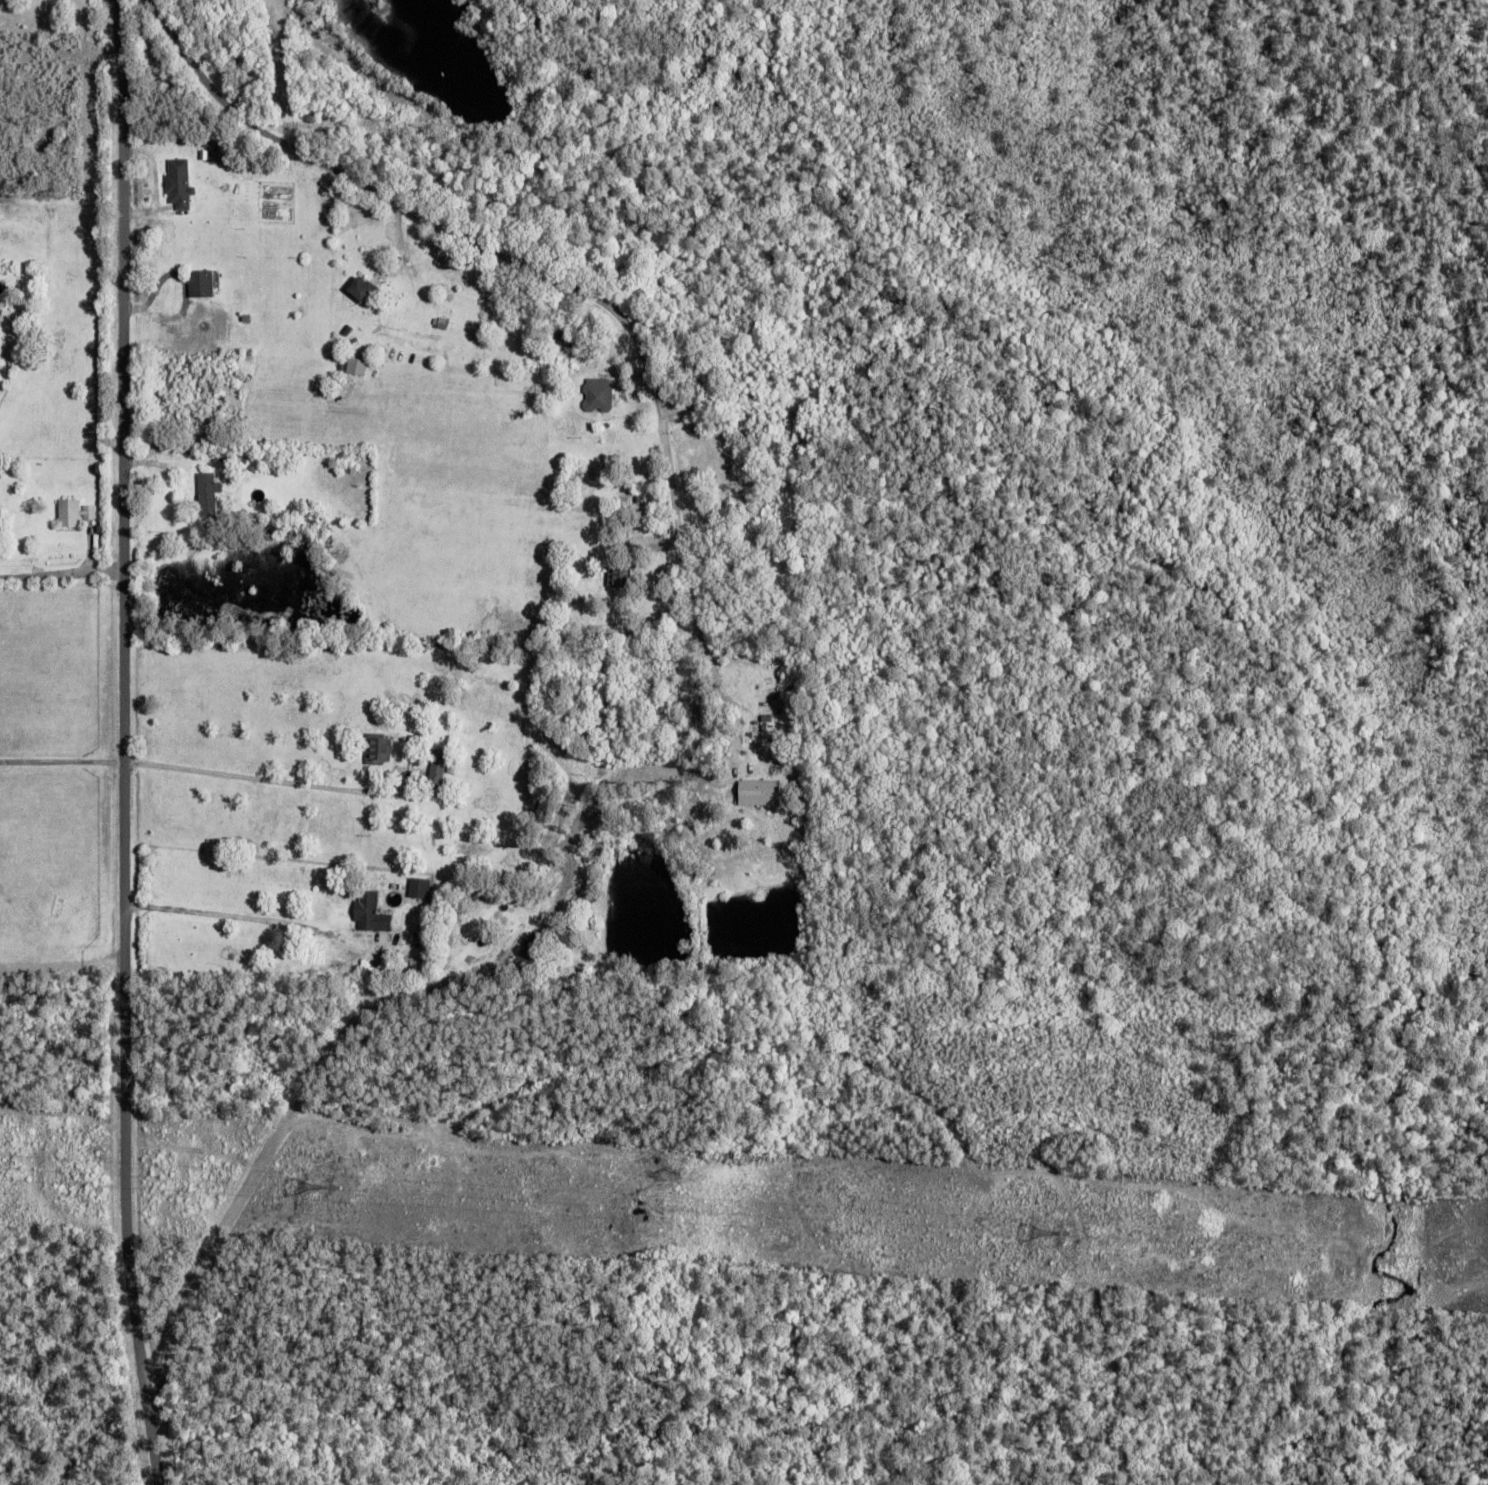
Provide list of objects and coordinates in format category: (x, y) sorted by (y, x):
building: (243, 63)
road: (1444, 87)
building: (180, 184)
building: (208, 193)
road: (489, 243)
building: (202, 284)
building: (363, 290)
building: (448, 313)
building: (565, 339)
building: (591, 364)
building: (358, 366)
building: (599, 395)
building: (601, 453)
building: (210, 494)
building: (728, 496)
building: (76, 513)
road: (61, 573)
building: (621, 578)
road: (124, 743)
building: (380, 751)
building: (439, 769)
building: (761, 794)
building: (422, 889)
building: (373, 914)
road: (461, 979)
power tower: (338, 1187)
power tower: (337, 1196)
power tower: (1070, 1233)
power tower: (1063, 1242)

